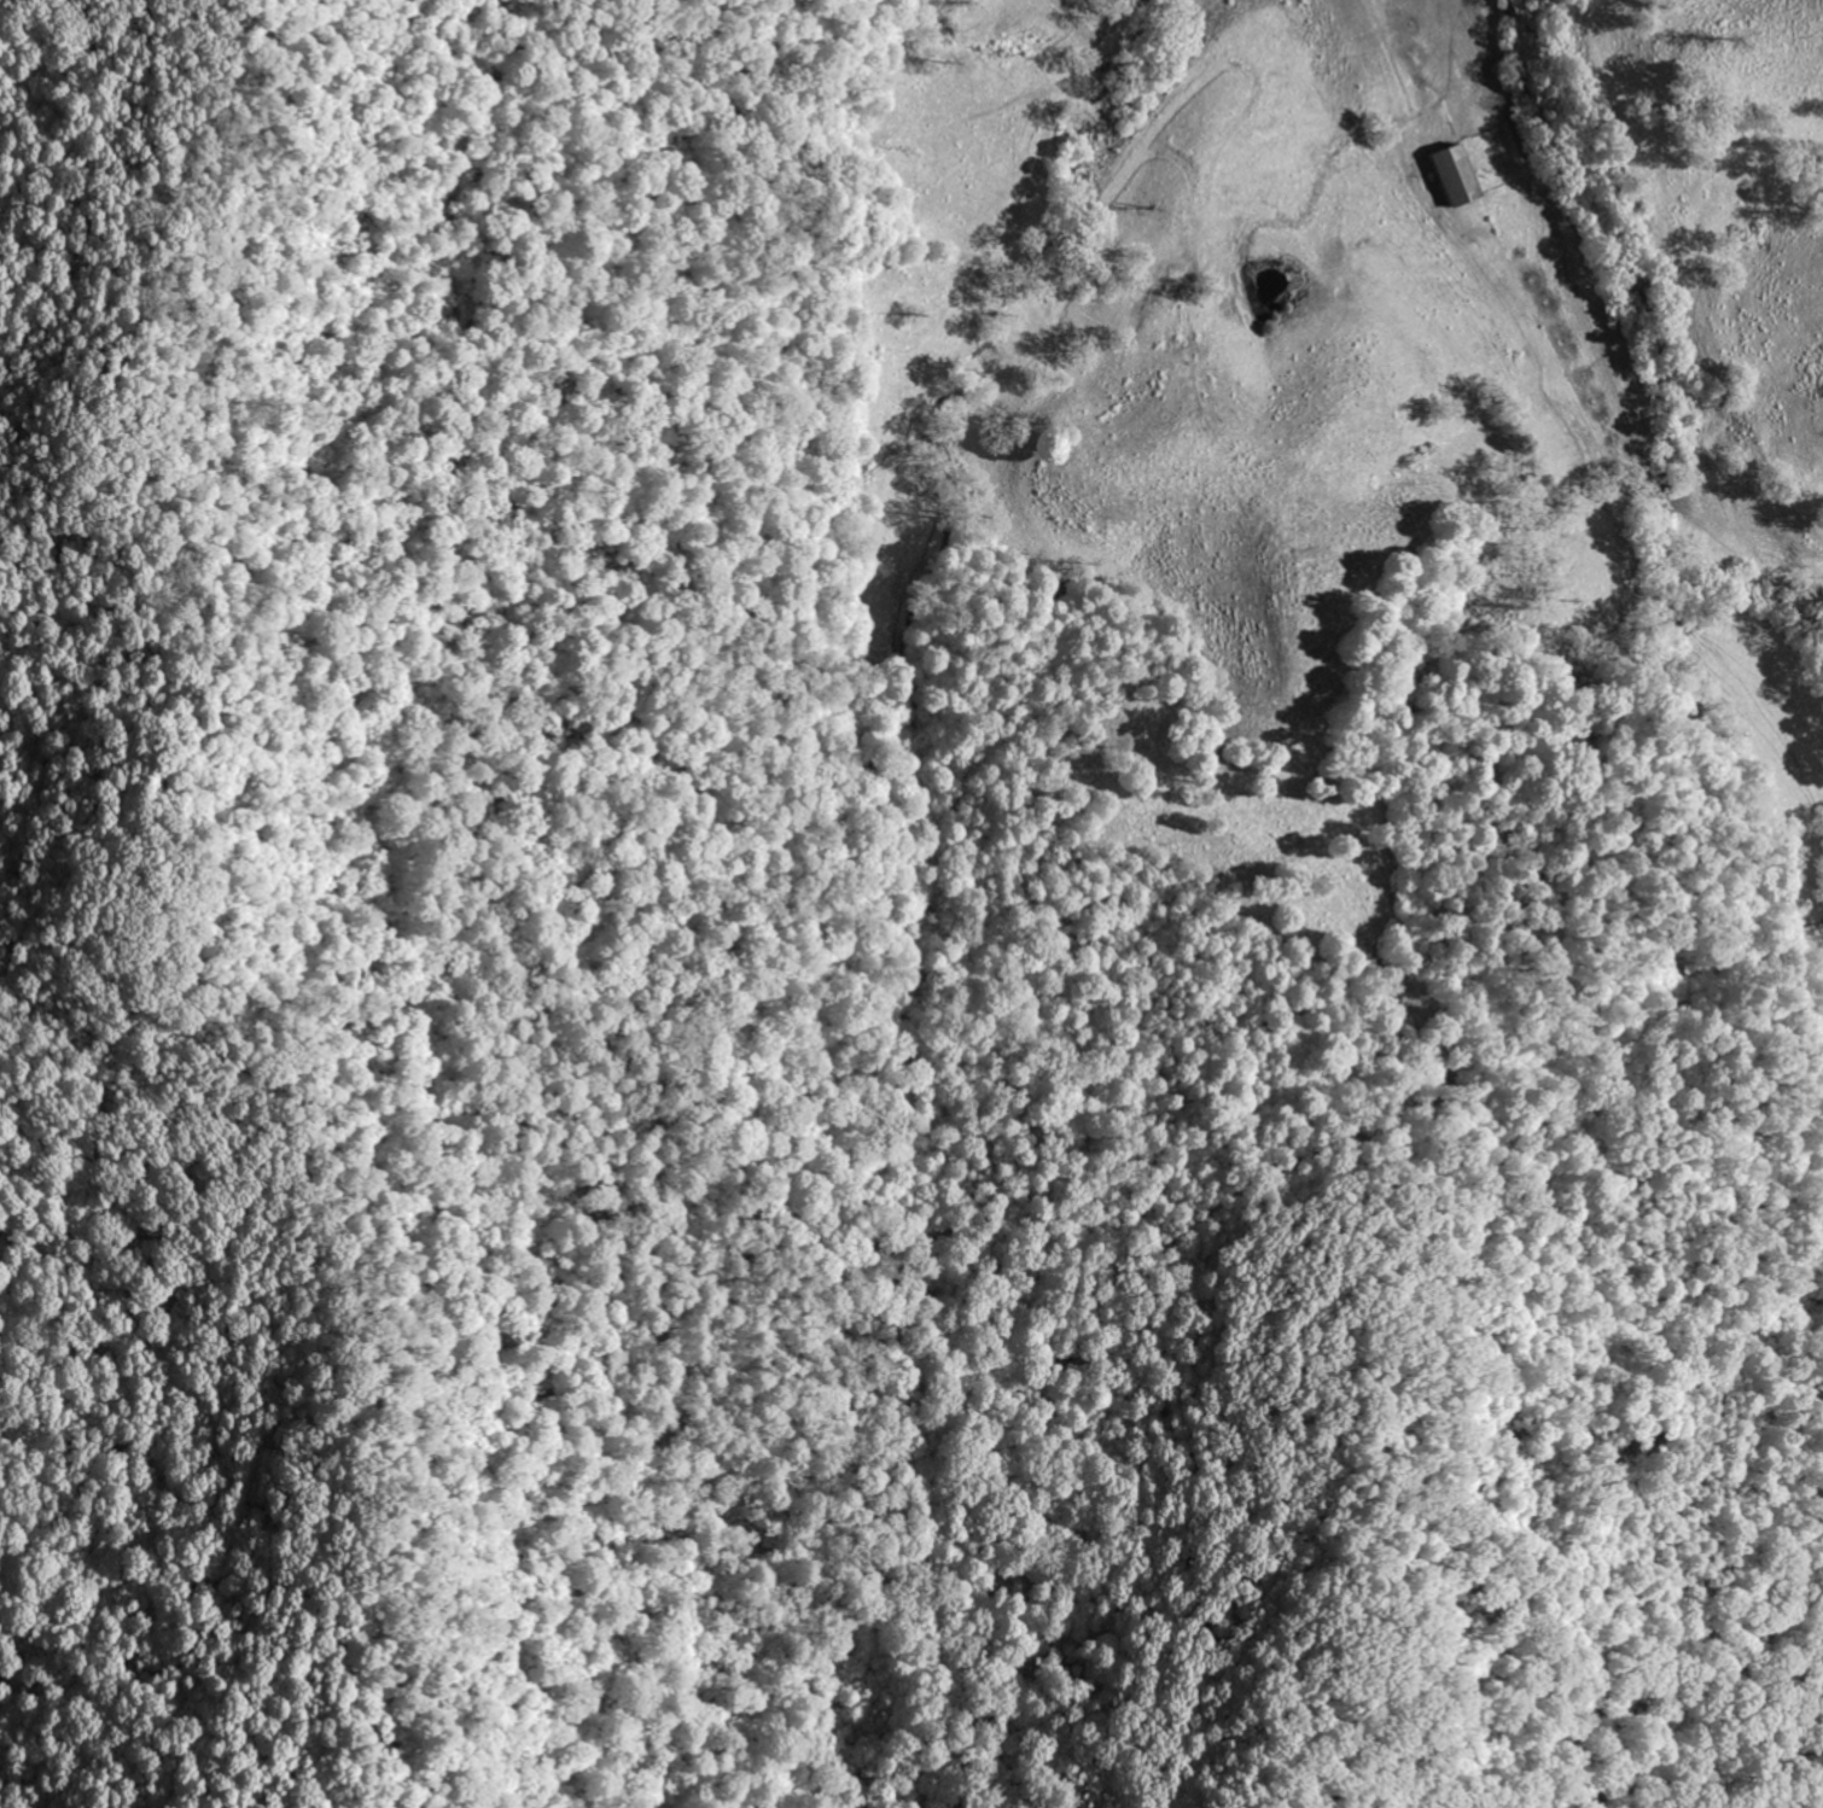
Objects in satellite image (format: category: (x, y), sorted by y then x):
building: (1462, 176)

